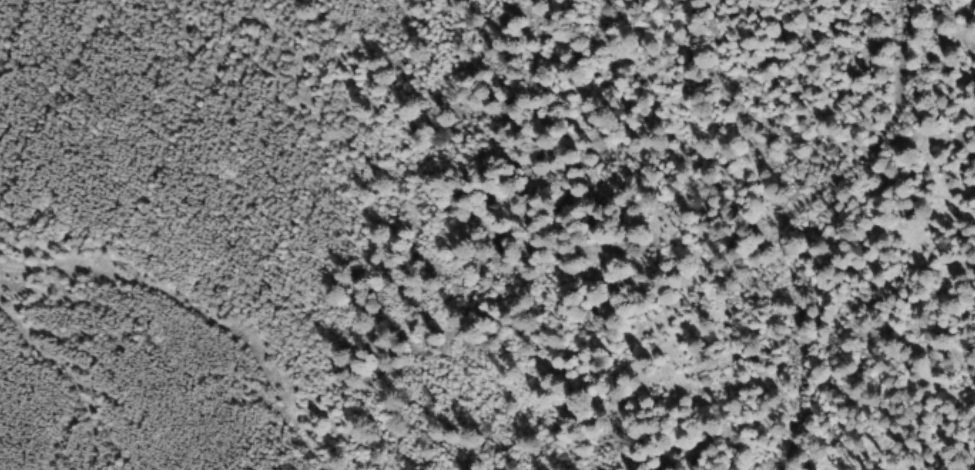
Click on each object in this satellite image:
road: (833, 234)
road: (206, 331)

